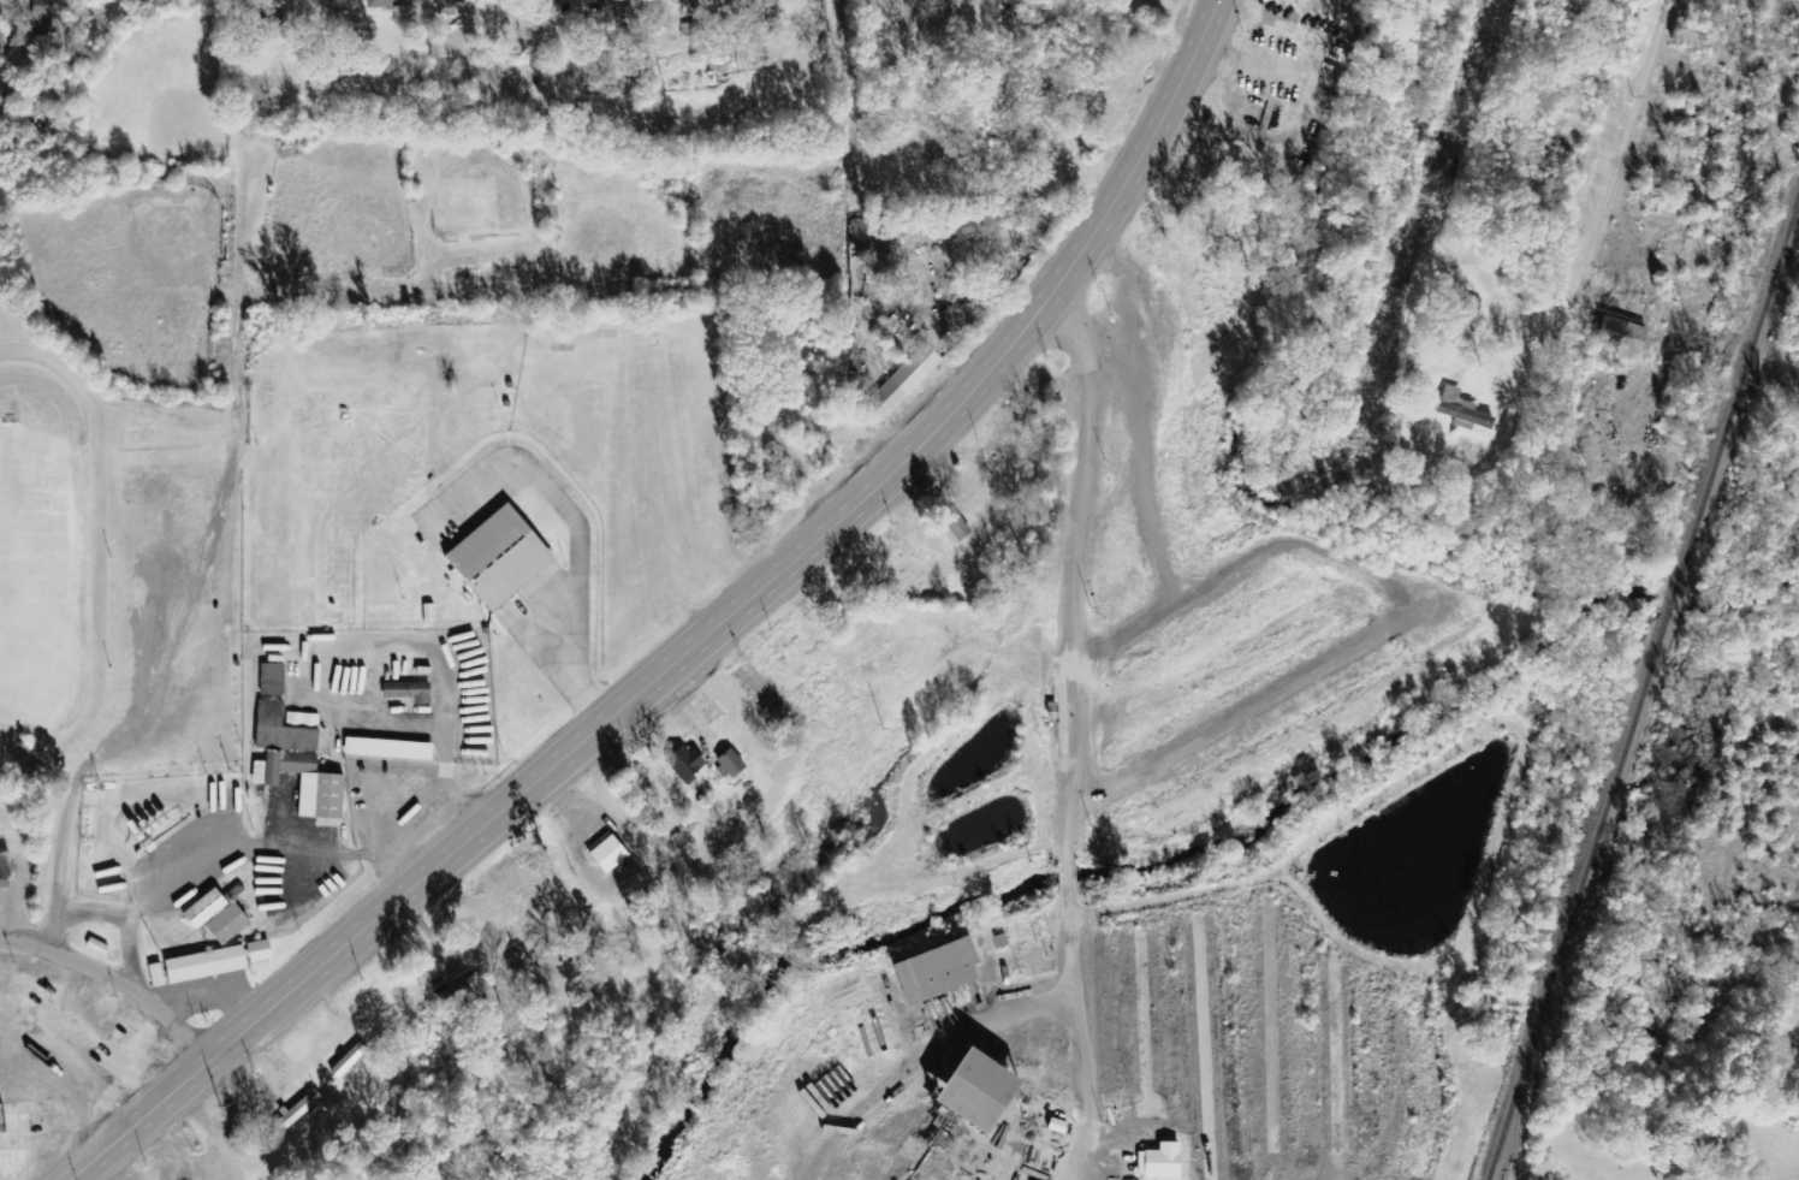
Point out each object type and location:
building: (604, 0)
building: (381, 4)
building: (444, 7)
building: (48, 16)
building: (272, 26)
building: (1690, 41)
road: (1638, 100)
building: (1617, 336)
building: (1437, 337)
building: (895, 386)
building: (1456, 410)
building: (950, 524)
building: (504, 558)
building: (431, 613)
road: (724, 617)
building: (274, 680)
railway: (1640, 684)
building: (410, 692)
building: (286, 729)
road: (1064, 740)
building: (391, 749)
building: (687, 761)
building: (734, 765)
building: (307, 783)
building: (209, 908)
building: (231, 925)
building: (99, 947)
building: (220, 962)
building: (930, 971)
building: (159, 976)
road: (113, 979)
building: (351, 1060)
building: (960, 1087)
building: (299, 1110)
road: (82, 1157)
road: (91, 1157)
building: (1154, 1163)

